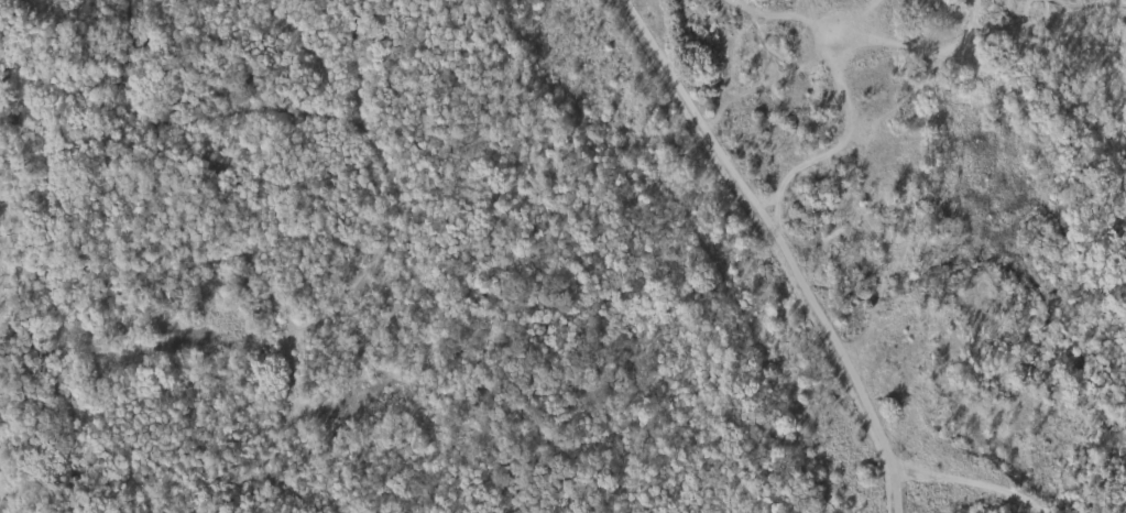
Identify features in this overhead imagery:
road: (770, 245)

